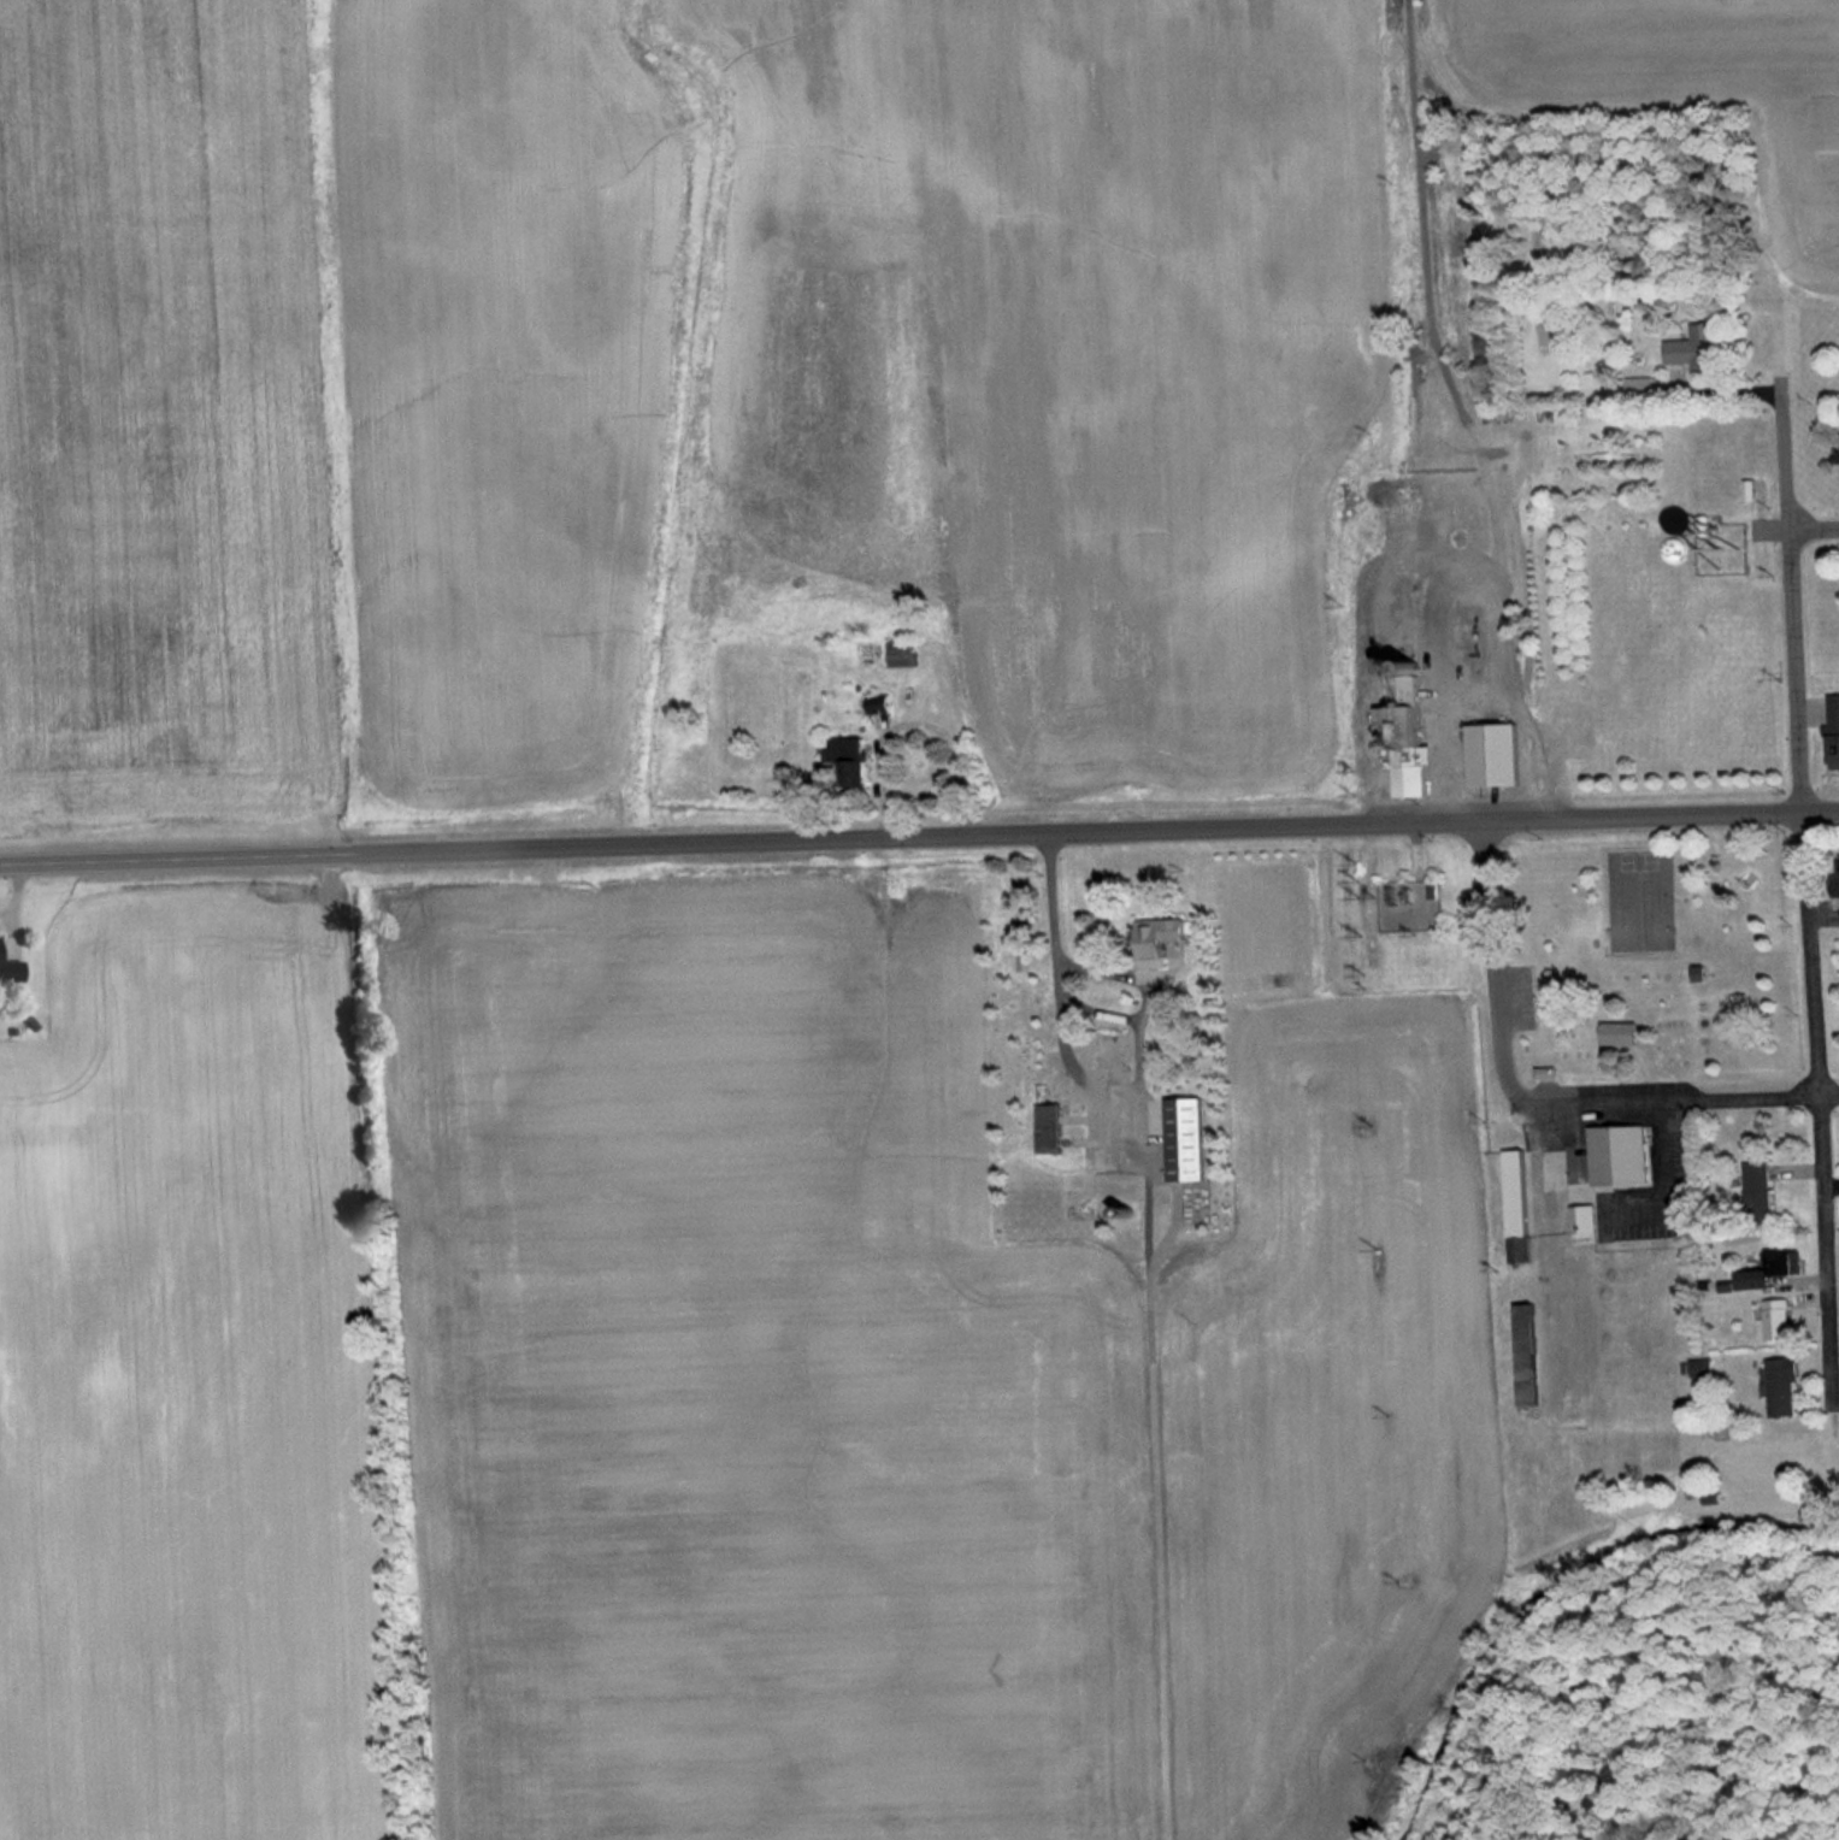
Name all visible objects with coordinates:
building: (1699, 348)
road: (1814, 538)
building: (1746, 547)
building: (1409, 730)
building: (1834, 732)
building: (1497, 756)
building: (851, 762)
road: (1051, 839)
road: (131, 867)
building: (1838, 877)
power substation: (1409, 906)
road: (1806, 907)
building: (1161, 937)
road: (1491, 967)
building: (12, 972)
building: (1620, 1036)
road: (1679, 1102)
building: (1063, 1130)
building: (1189, 1140)
building: (1622, 1157)
building: (1760, 1196)
building: (1520, 1208)
building: (1774, 1272)
building: (1781, 1321)
building: (1531, 1357)
building: (1788, 1388)

